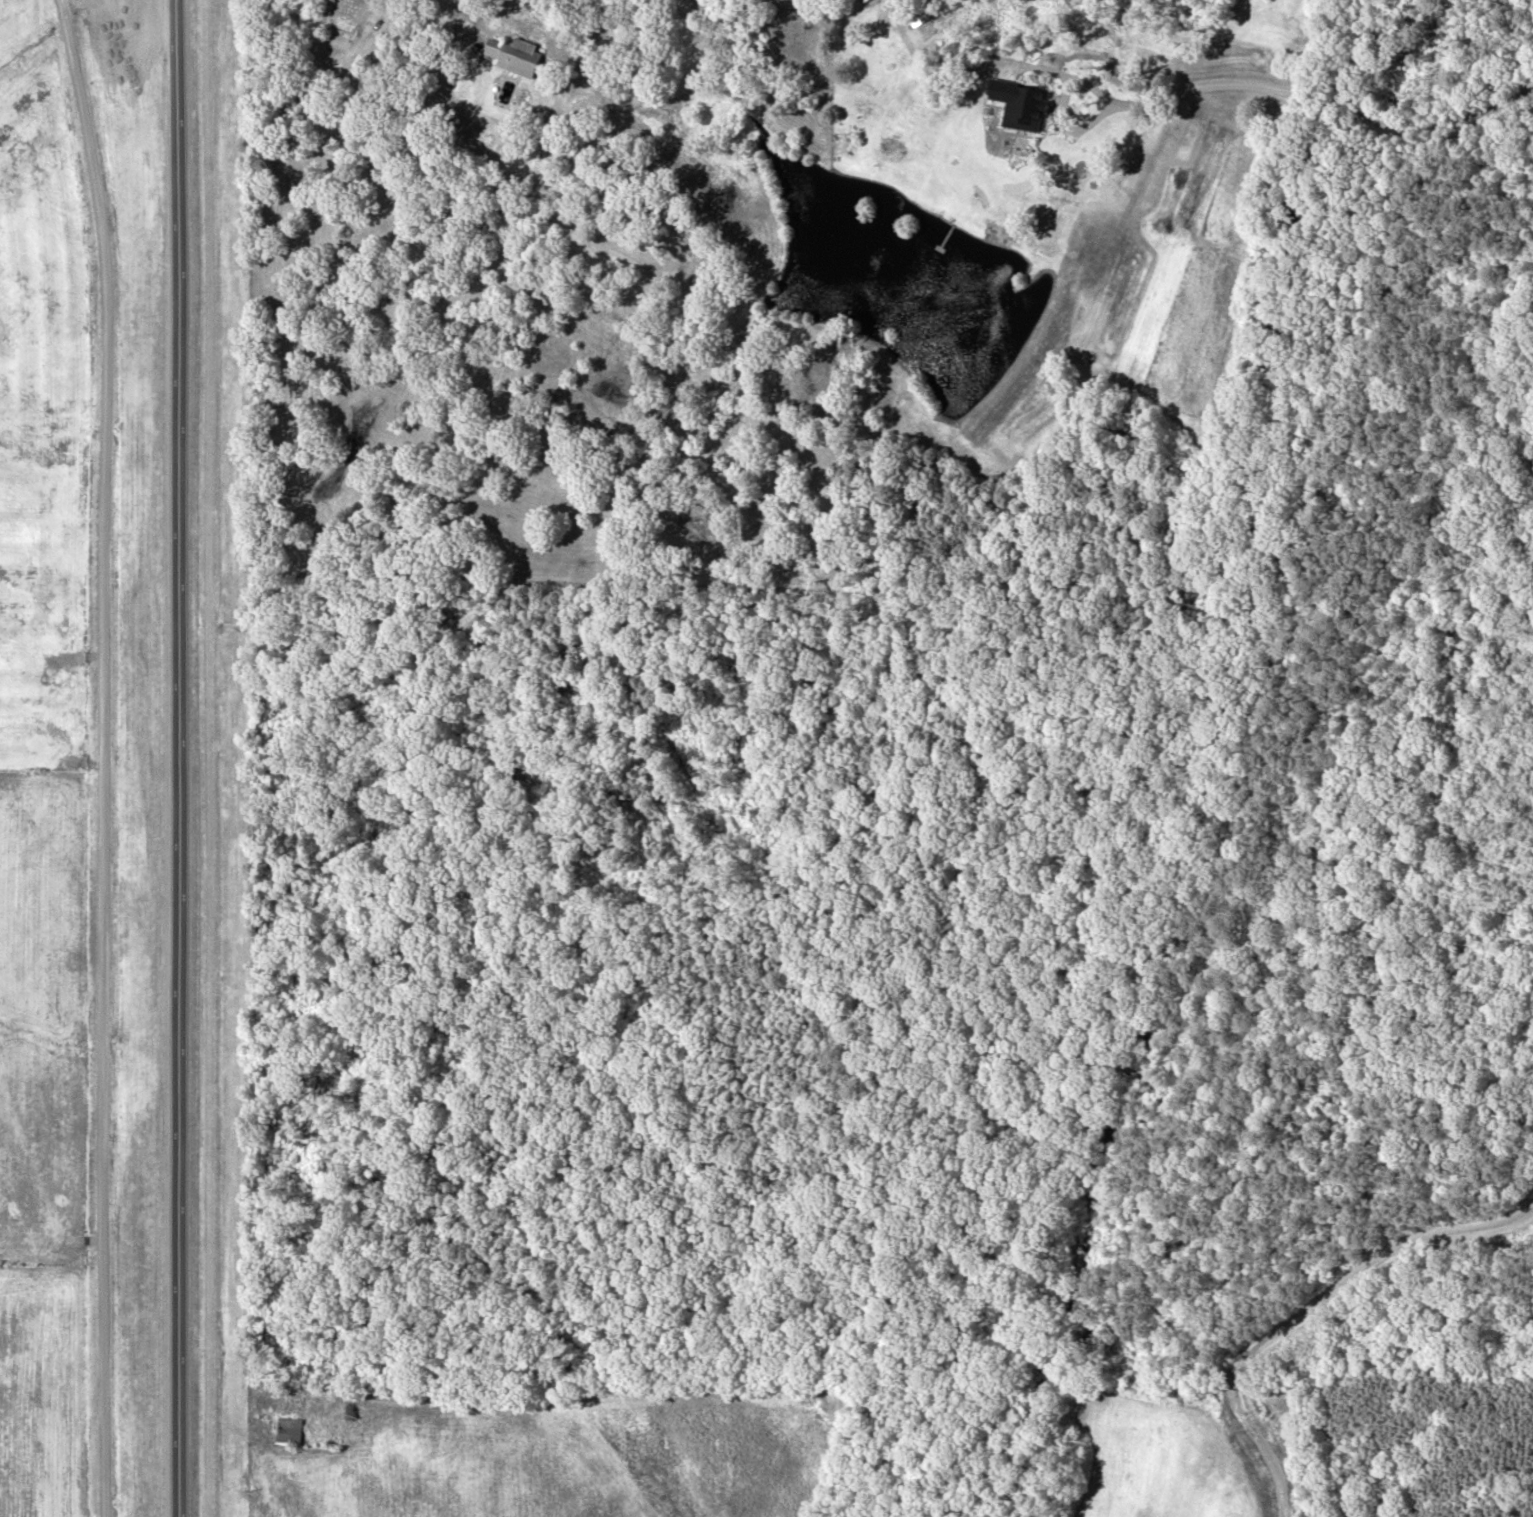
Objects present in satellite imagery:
building: (867, 1)
building: (514, 53)
road: (1262, 84)
building: (1020, 102)
road: (98, 757)
road: (178, 758)
building: (289, 1429)

